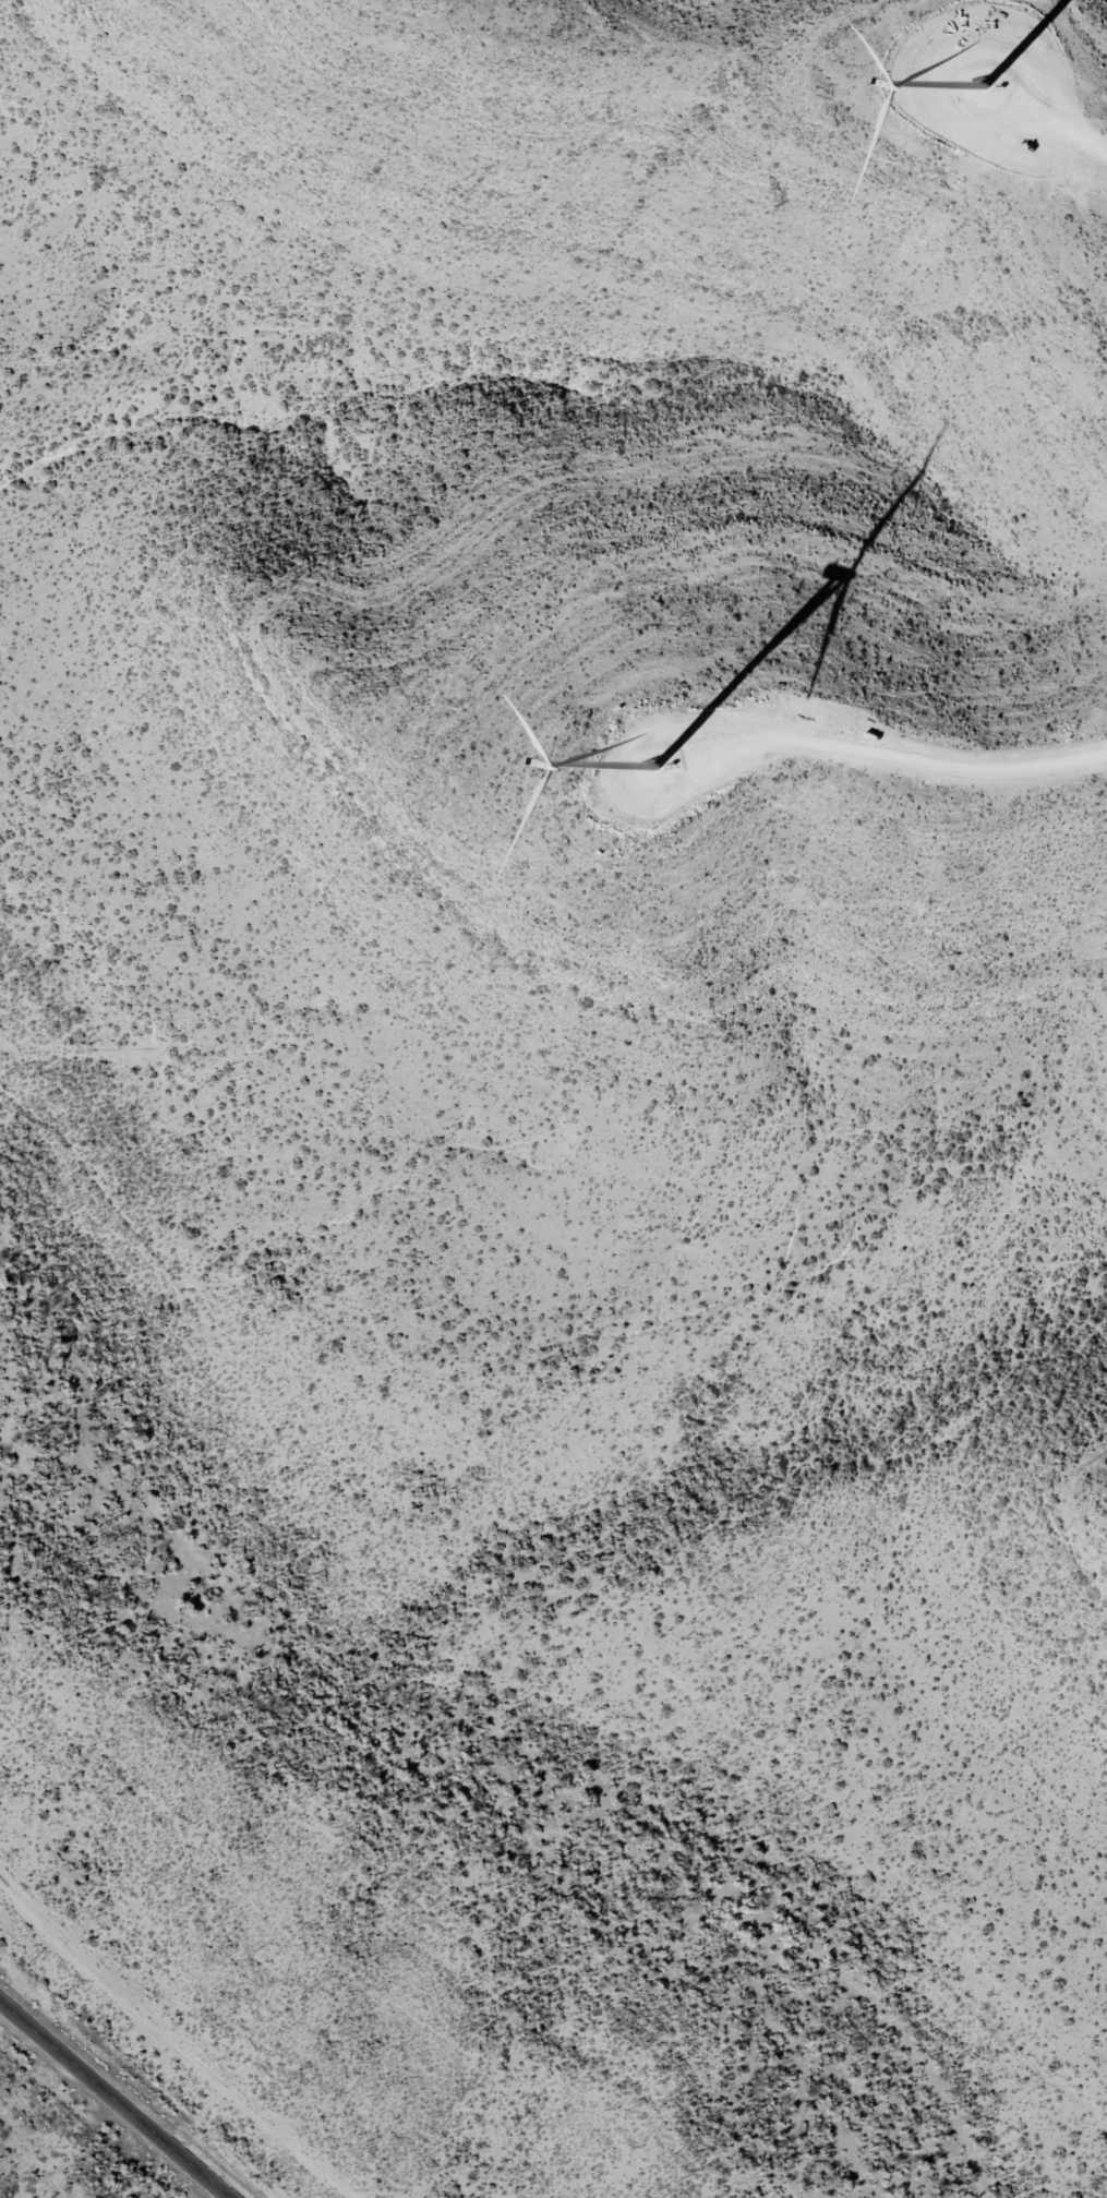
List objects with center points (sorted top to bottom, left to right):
wind turbine: (984, 85)
wind turbine: (653, 767)
road: (115, 2099)

